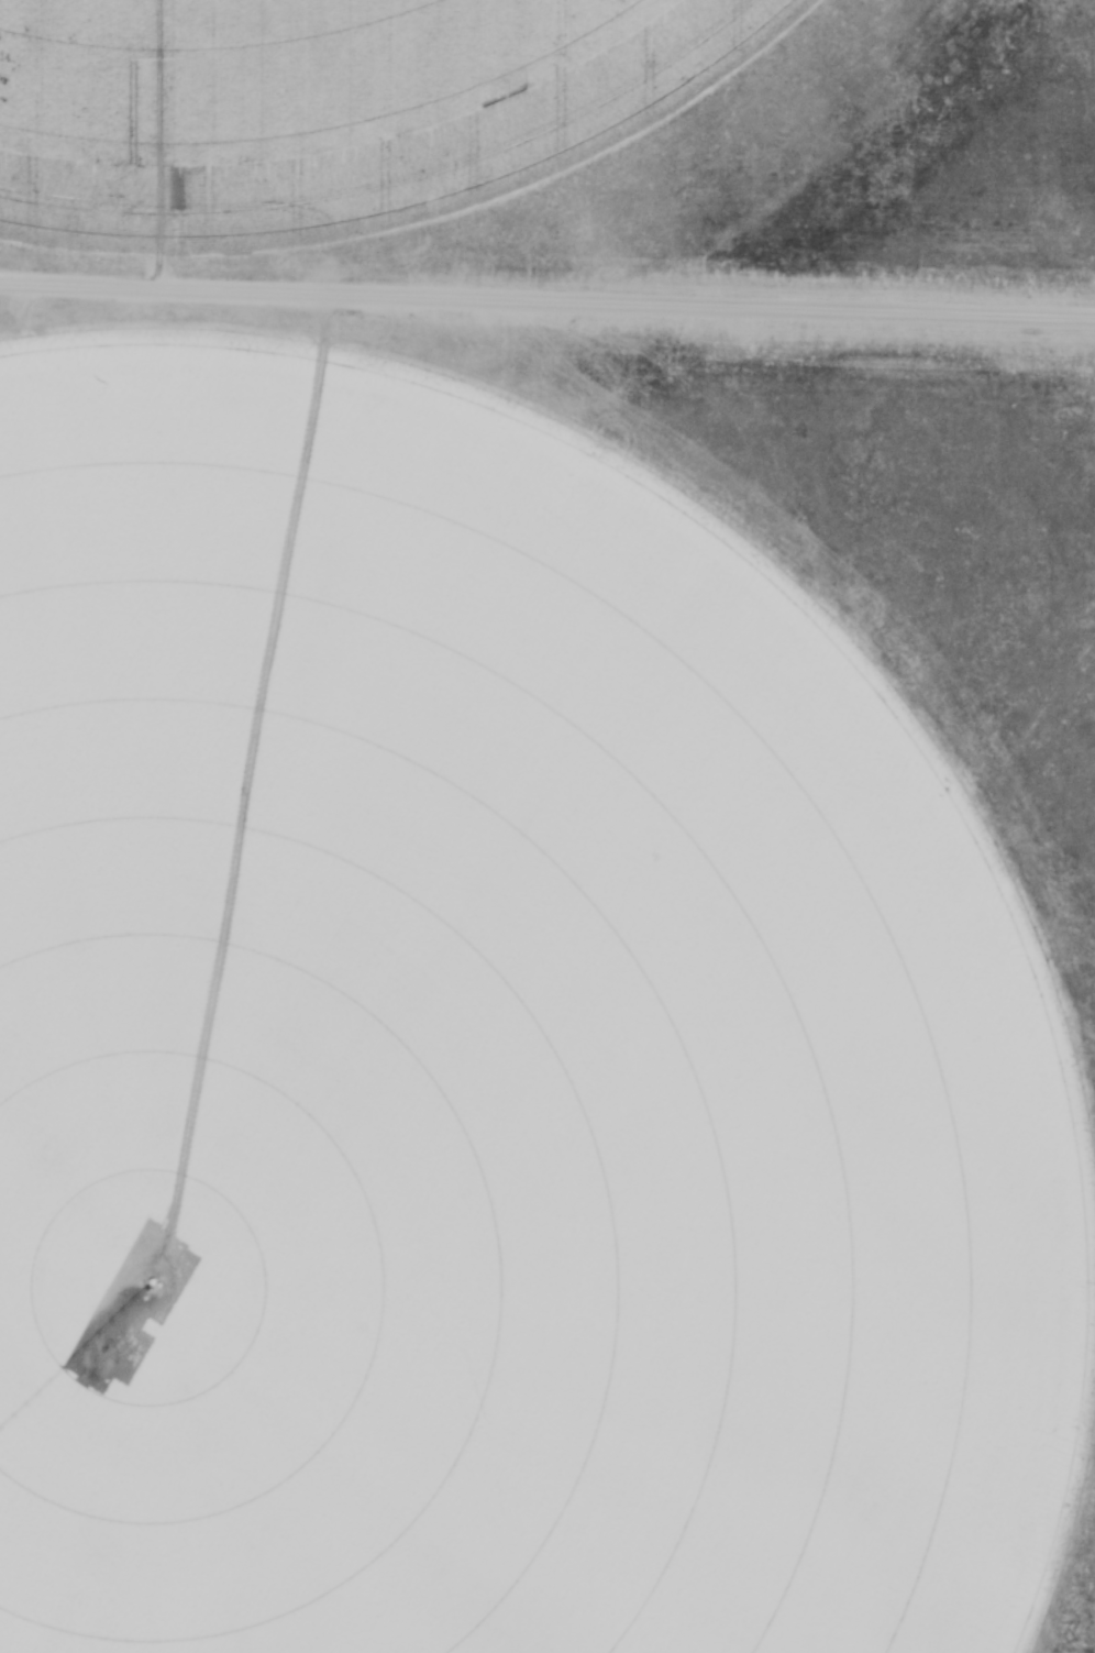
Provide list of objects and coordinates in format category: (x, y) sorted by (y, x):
crop: (321, 110)
road: (547, 306)
crop: (467, 1100)

